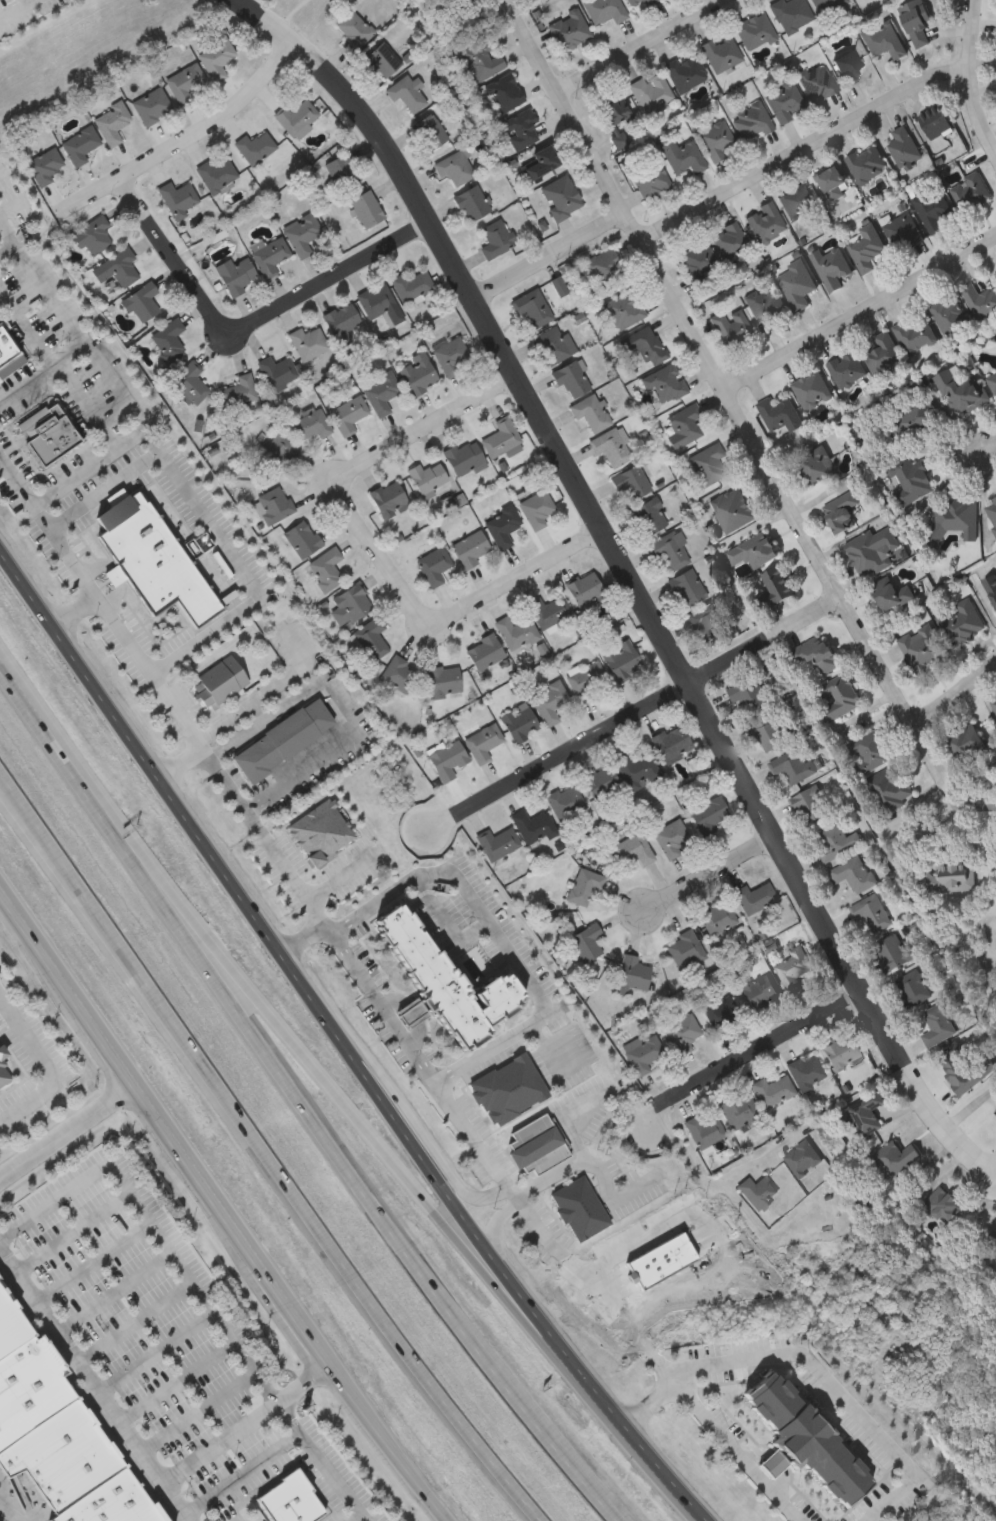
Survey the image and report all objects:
building: (636, 3)
building: (827, 5)
road: (17, 10)
building: (604, 10)
park: (497, 14)
building: (791, 14)
building: (916, 21)
building: (354, 29)
building: (568, 29)
building: (755, 32)
building: (883, 40)
road: (638, 47)
road: (532, 50)
building: (721, 53)
building: (217, 56)
building: (382, 60)
building: (481, 62)
building: (849, 67)
building: (685, 73)
road: (970, 78)
building: (187, 83)
building: (817, 83)
building: (650, 92)
building: (406, 94)
building: (504, 94)
building: (785, 103)
building: (152, 106)
building: (615, 112)
building: (298, 119)
building: (938, 121)
building: (751, 123)
building: (112, 124)
building: (520, 131)
building: (431, 133)
road: (185, 140)
building: (619, 141)
building: (716, 142)
building: (80, 145)
building: (905, 147)
building: (254, 148)
road: (801, 148)
building: (682, 157)
building: (540, 162)
building: (869, 164)
building: (44, 167)
building: (456, 169)
building: (342, 172)
building: (216, 175)
building: (650, 181)
building: (835, 182)
building: (971, 191)
building: (560, 198)
building: (178, 199)
building: (798, 202)
building: (471, 205)
building: (366, 210)
building: (934, 210)
building: (765, 223)
building: (904, 232)
building: (302, 234)
building: (92, 236)
building: (495, 240)
road: (10, 242)
building: (729, 242)
building: (866, 246)
road: (547, 254)
building: (270, 257)
building: (699, 264)
building: (601, 266)
building: (118, 267)
building: (831, 267)
building: (237, 274)
building: (797, 285)
building: (412, 286)
building: (981, 301)
building: (142, 302)
building: (376, 302)
building: (766, 306)
building: (534, 310)
building: (623, 310)
road: (858, 310)
building: (950, 315)
building: (341, 322)
road: (249, 325)
building: (731, 328)
building: (916, 334)
road: (72, 339)
building: (168, 341)
building: (307, 343)
building: (645, 345)
building: (553, 346)
building: (8, 354)
building: (884, 354)
building: (451, 356)
building: (848, 368)
building: (277, 372)
building: (418, 374)
building: (572, 380)
building: (992, 381)
building: (191, 383)
building: (664, 383)
building: (813, 389)
building: (238, 391)
building: (962, 391)
building: (380, 393)
building: (589, 413)
building: (347, 414)
building: (781, 414)
building: (912, 417)
building: (311, 425)
building: (684, 426)
building: (47, 435)
road: (131, 437)
building: (500, 438)
road: (750, 439)
building: (611, 447)
road: (988, 449)
building: (275, 452)
building: (464, 458)
building: (817, 464)
building: (707, 465)
road: (570, 477)
building: (426, 478)
building: (910, 478)
building: (630, 484)
building: (388, 500)
building: (273, 505)
building: (535, 509)
building: (733, 510)
building: (844, 511)
building: (991, 511)
building: (649, 517)
building: (953, 519)
road: (209, 526)
building: (501, 526)
building: (301, 539)
building: (471, 549)
building: (670, 550)
building: (872, 550)
road: (373, 551)
building: (754, 551)
building: (433, 567)
building: (325, 570)
building: (775, 587)
building: (991, 587)
building: (687, 589)
building: (584, 590)
building: (891, 593)
building: (350, 606)
building: (548, 611)
road: (74, 614)
building: (706, 623)
building: (961, 623)
building: (515, 633)
building: (369, 639)
building: (923, 649)
building: (484, 652)
building: (817, 654)
building: (622, 661)
building: (397, 675)
building: (444, 681)
building: (218, 682)
building: (587, 682)
road: (324, 687)
building: (748, 693)
building: (837, 697)
road: (953, 699)
building: (549, 702)
building: (994, 703)
road: (245, 709)
road: (632, 713)
building: (520, 723)
building: (769, 733)
building: (282, 740)
building: (965, 741)
building: (482, 743)
building: (672, 743)
building: (868, 750)
building: (446, 759)
building: (792, 766)
building: (637, 770)
building: (601, 783)
building: (889, 790)
building: (565, 802)
road: (965, 803)
building: (810, 807)
building: (708, 814)
building: (533, 827)
building: (671, 839)
building: (835, 842)
building: (498, 843)
building: (634, 850)
building: (853, 873)
road: (708, 874)
building: (951, 877)
building: (586, 889)
building: (754, 898)
road: (6, 912)
building: (871, 912)
building: (717, 918)
road: (328, 930)
road: (501, 936)
road: (302, 940)
building: (586, 943)
building: (684, 950)
building: (893, 952)
building: (793, 968)
building: (632, 976)
building: (445, 987)
building: (913, 987)
building: (760, 991)
building: (718, 1014)
building: (939, 1025)
building: (682, 1033)
road: (344, 1045)
road: (553, 1046)
road: (297, 1048)
building: (840, 1051)
building: (642, 1052)
building: (3, 1054)
road: (750, 1054)
building: (964, 1068)
building: (806, 1072)
road: (45, 1073)
building: (3, 1078)
building: (508, 1091)
building: (773, 1091)
road: (918, 1093)
road: (300, 1102)
building: (738, 1110)
road: (970, 1110)
building: (866, 1112)
building: (703, 1130)
road: (62, 1135)
building: (537, 1146)
road: (263, 1149)
building: (802, 1158)
building: (894, 1159)
road: (590, 1160)
road: (711, 1186)
building: (756, 1193)
road: (469, 1194)
road: (618, 1194)
building: (941, 1206)
building: (578, 1208)
road: (224, 1225)
road: (498, 1225)
road: (73, 1235)
building: (992, 1237)
road: (725, 1238)
road: (93, 1265)
road: (197, 1293)
road: (114, 1295)
road: (135, 1324)
building: (12, 1328)
road: (155, 1353)
road: (815, 1366)
road: (177, 1383)
building: (31, 1391)
road: (198, 1414)
building: (802, 1441)
building: (51, 1445)
road: (140, 1450)
road: (741, 1452)
road: (240, 1472)
building: (81, 1476)
building: (284, 1497)
road: (176, 1502)
building: (115, 1504)
building: (302, 1512)
road: (7, 1515)
road: (355, 1517)

